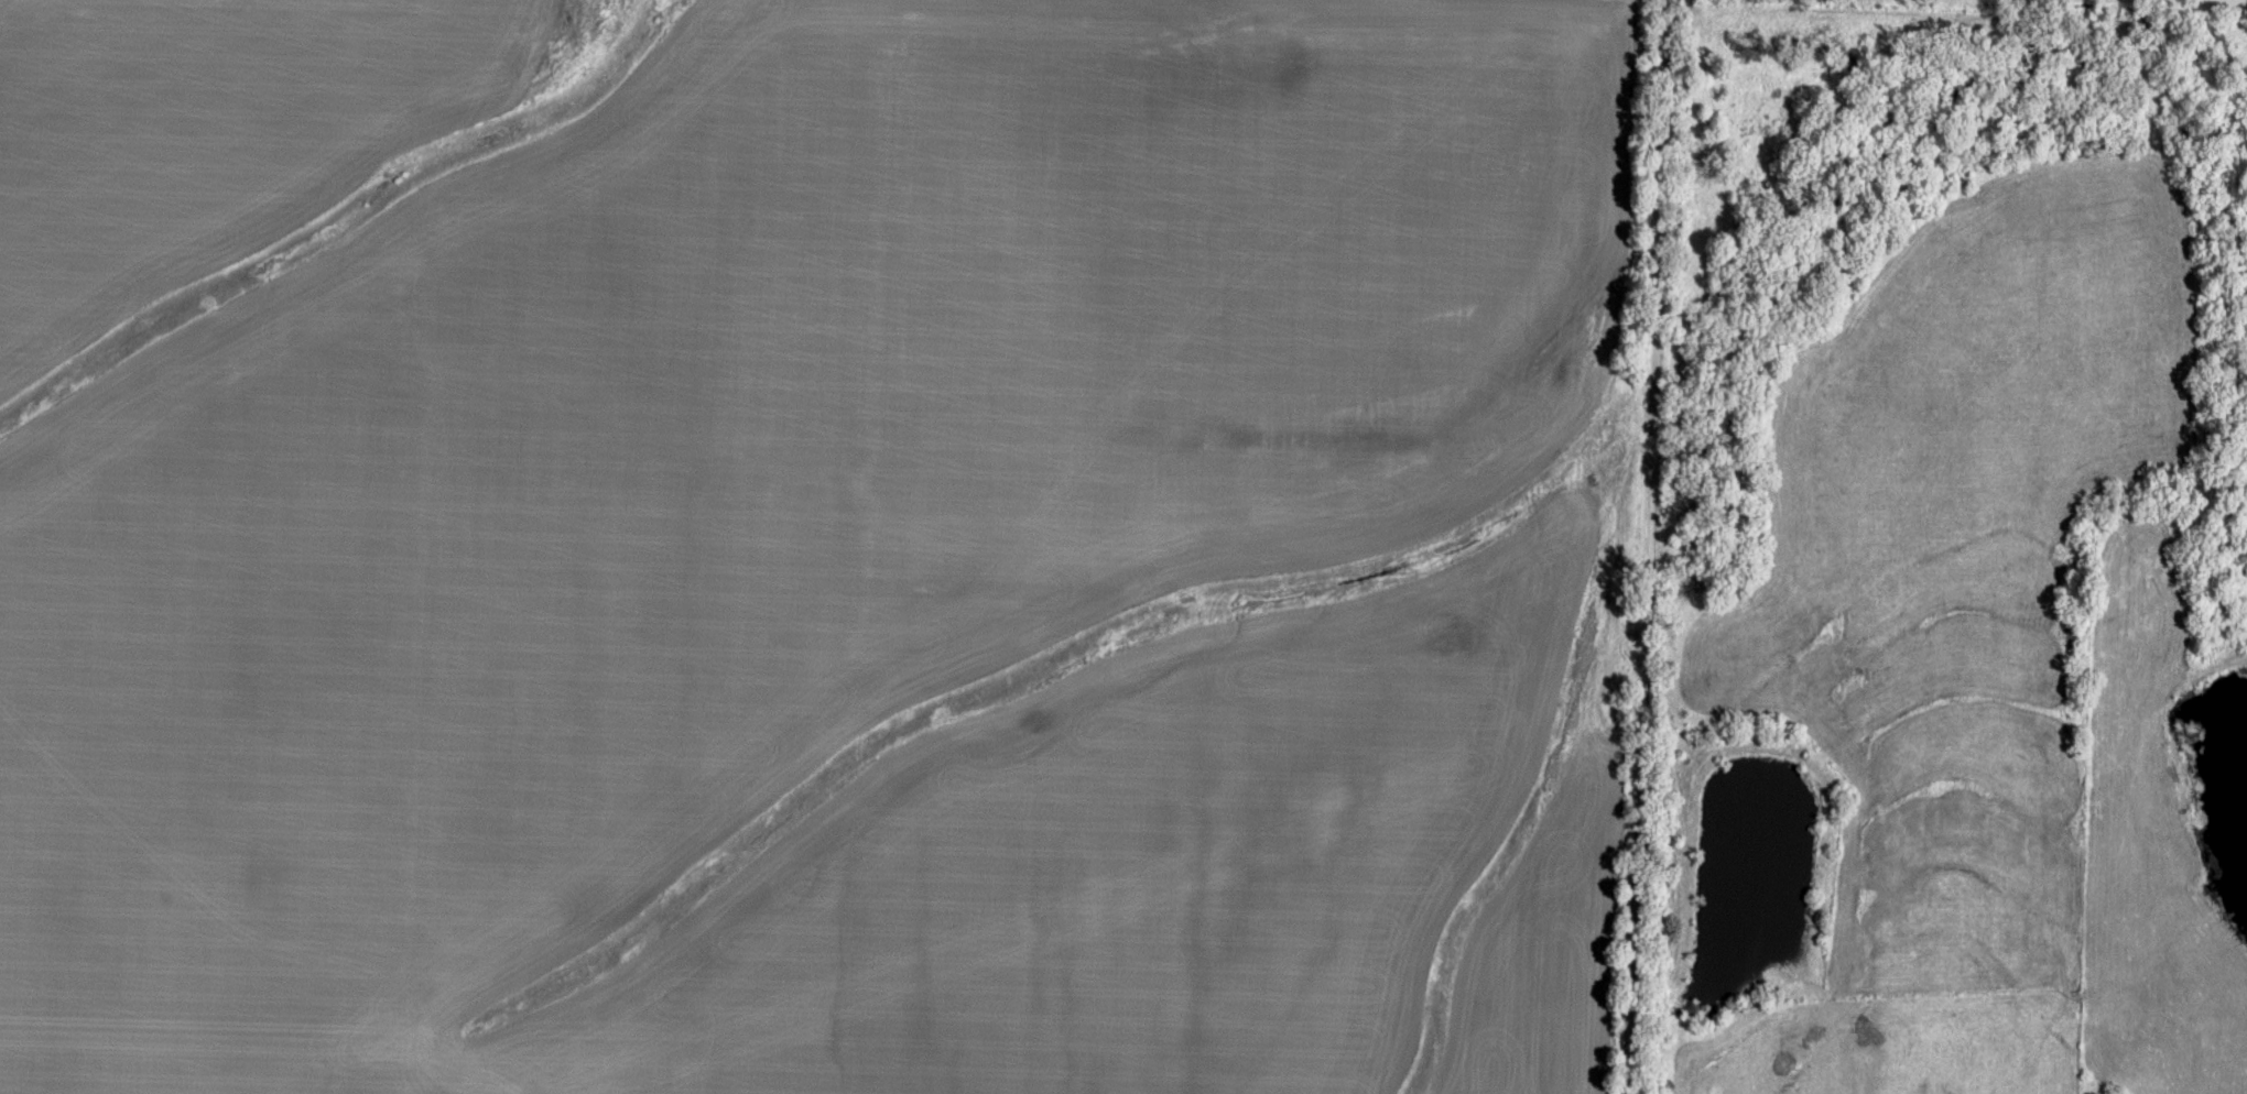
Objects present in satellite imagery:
road: (2190, 1)
road: (1630, 1010)

